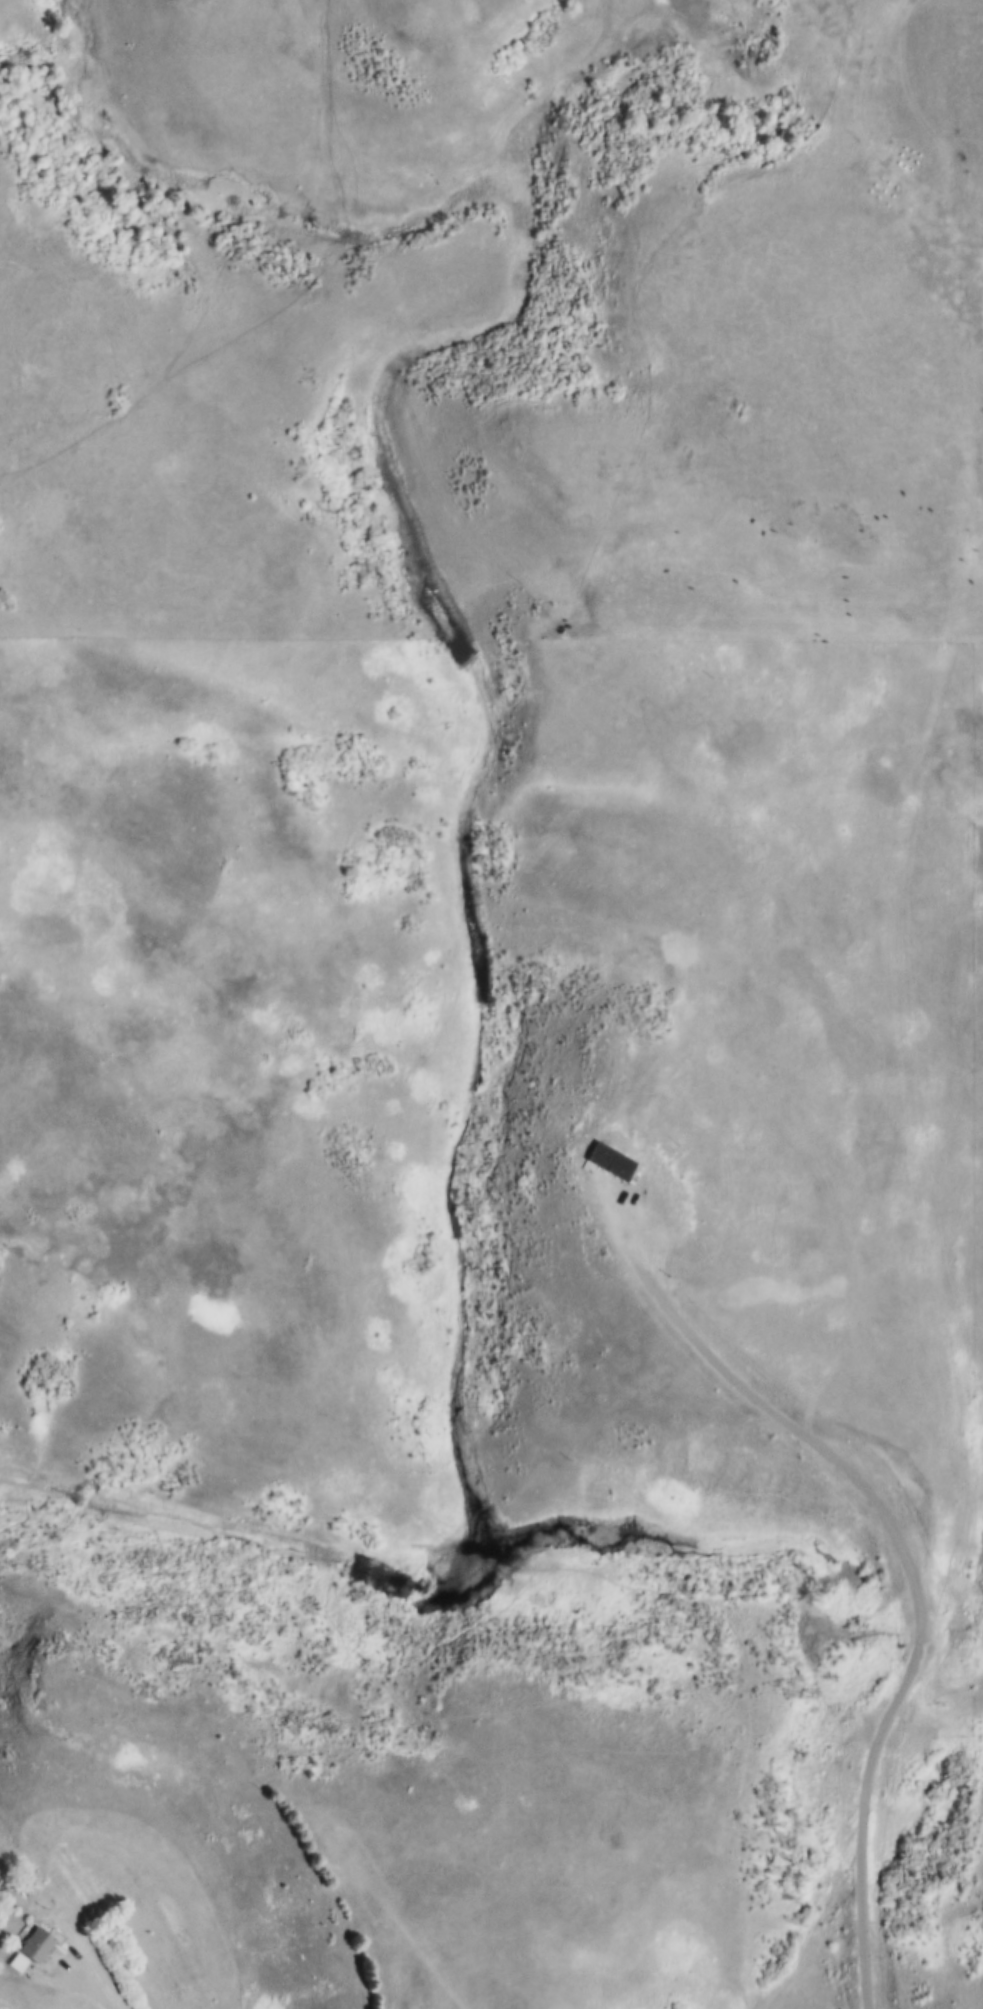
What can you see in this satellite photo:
building: (618, 1153)
road: (909, 1562)
building: (41, 1940)
building: (22, 1959)
road: (97, 1989)

